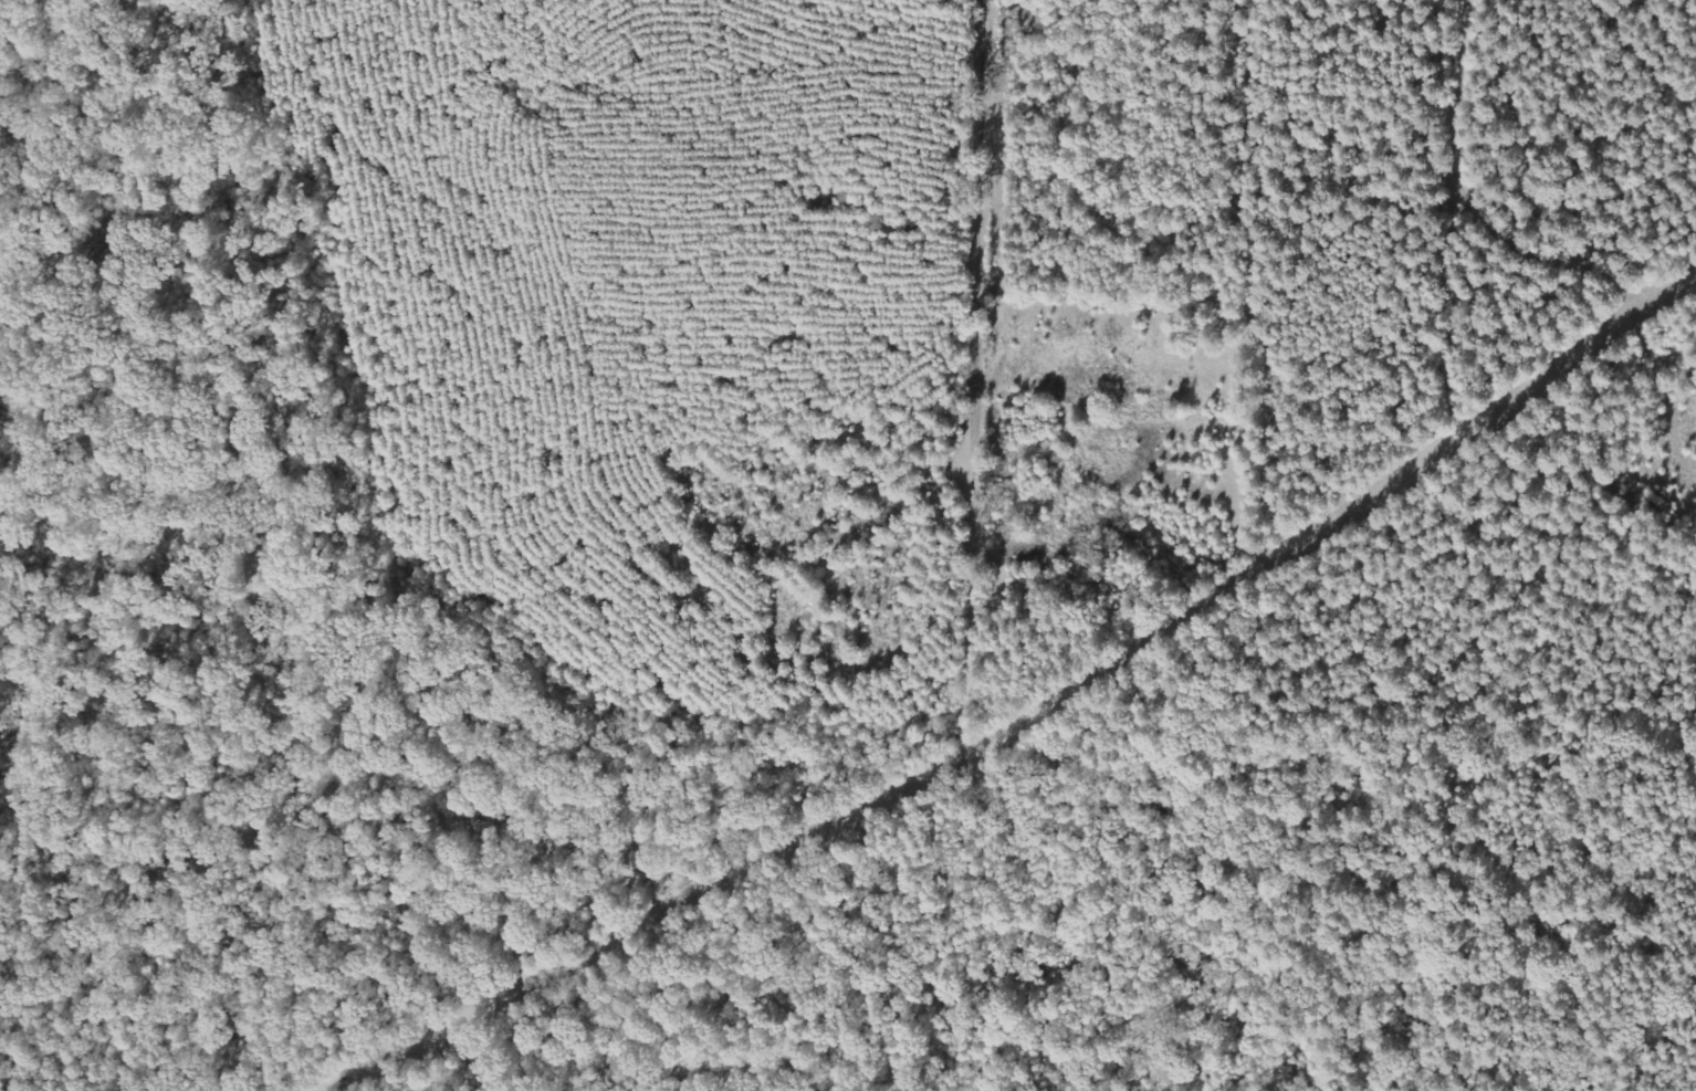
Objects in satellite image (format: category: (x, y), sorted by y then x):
road: (986, 246)

